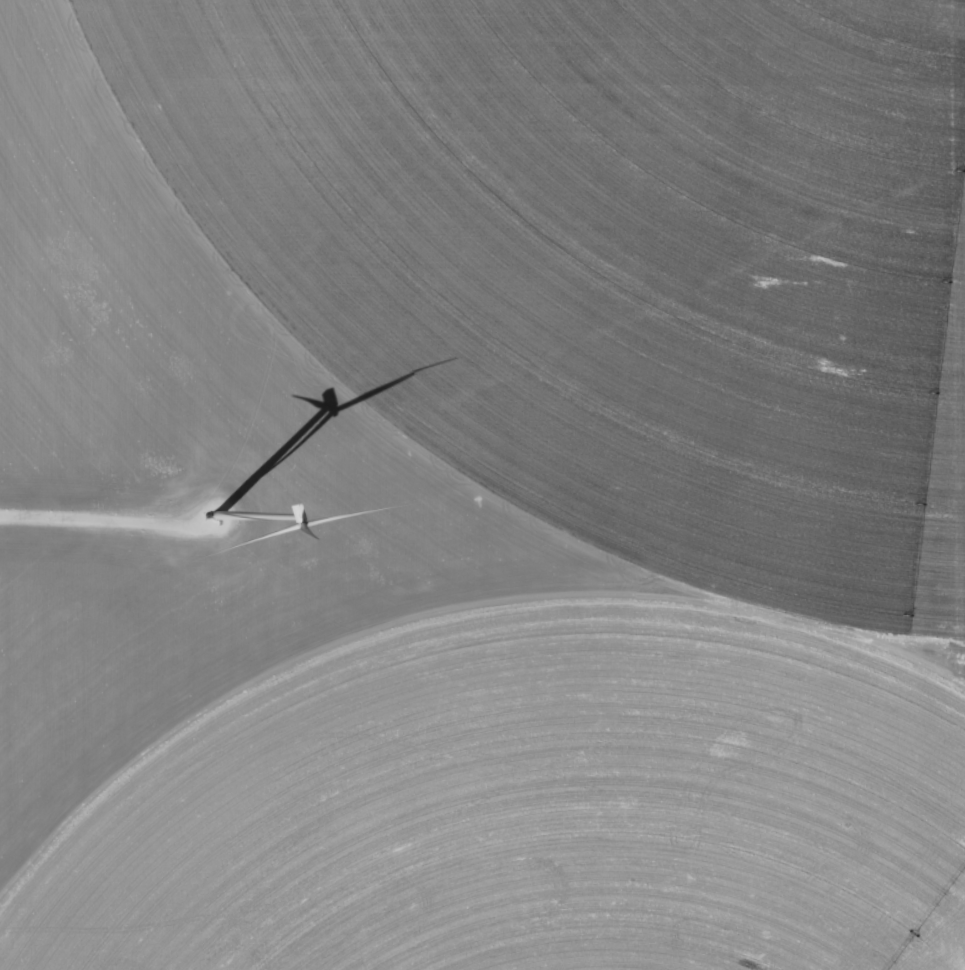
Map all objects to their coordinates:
wind turbine: (216, 510)

